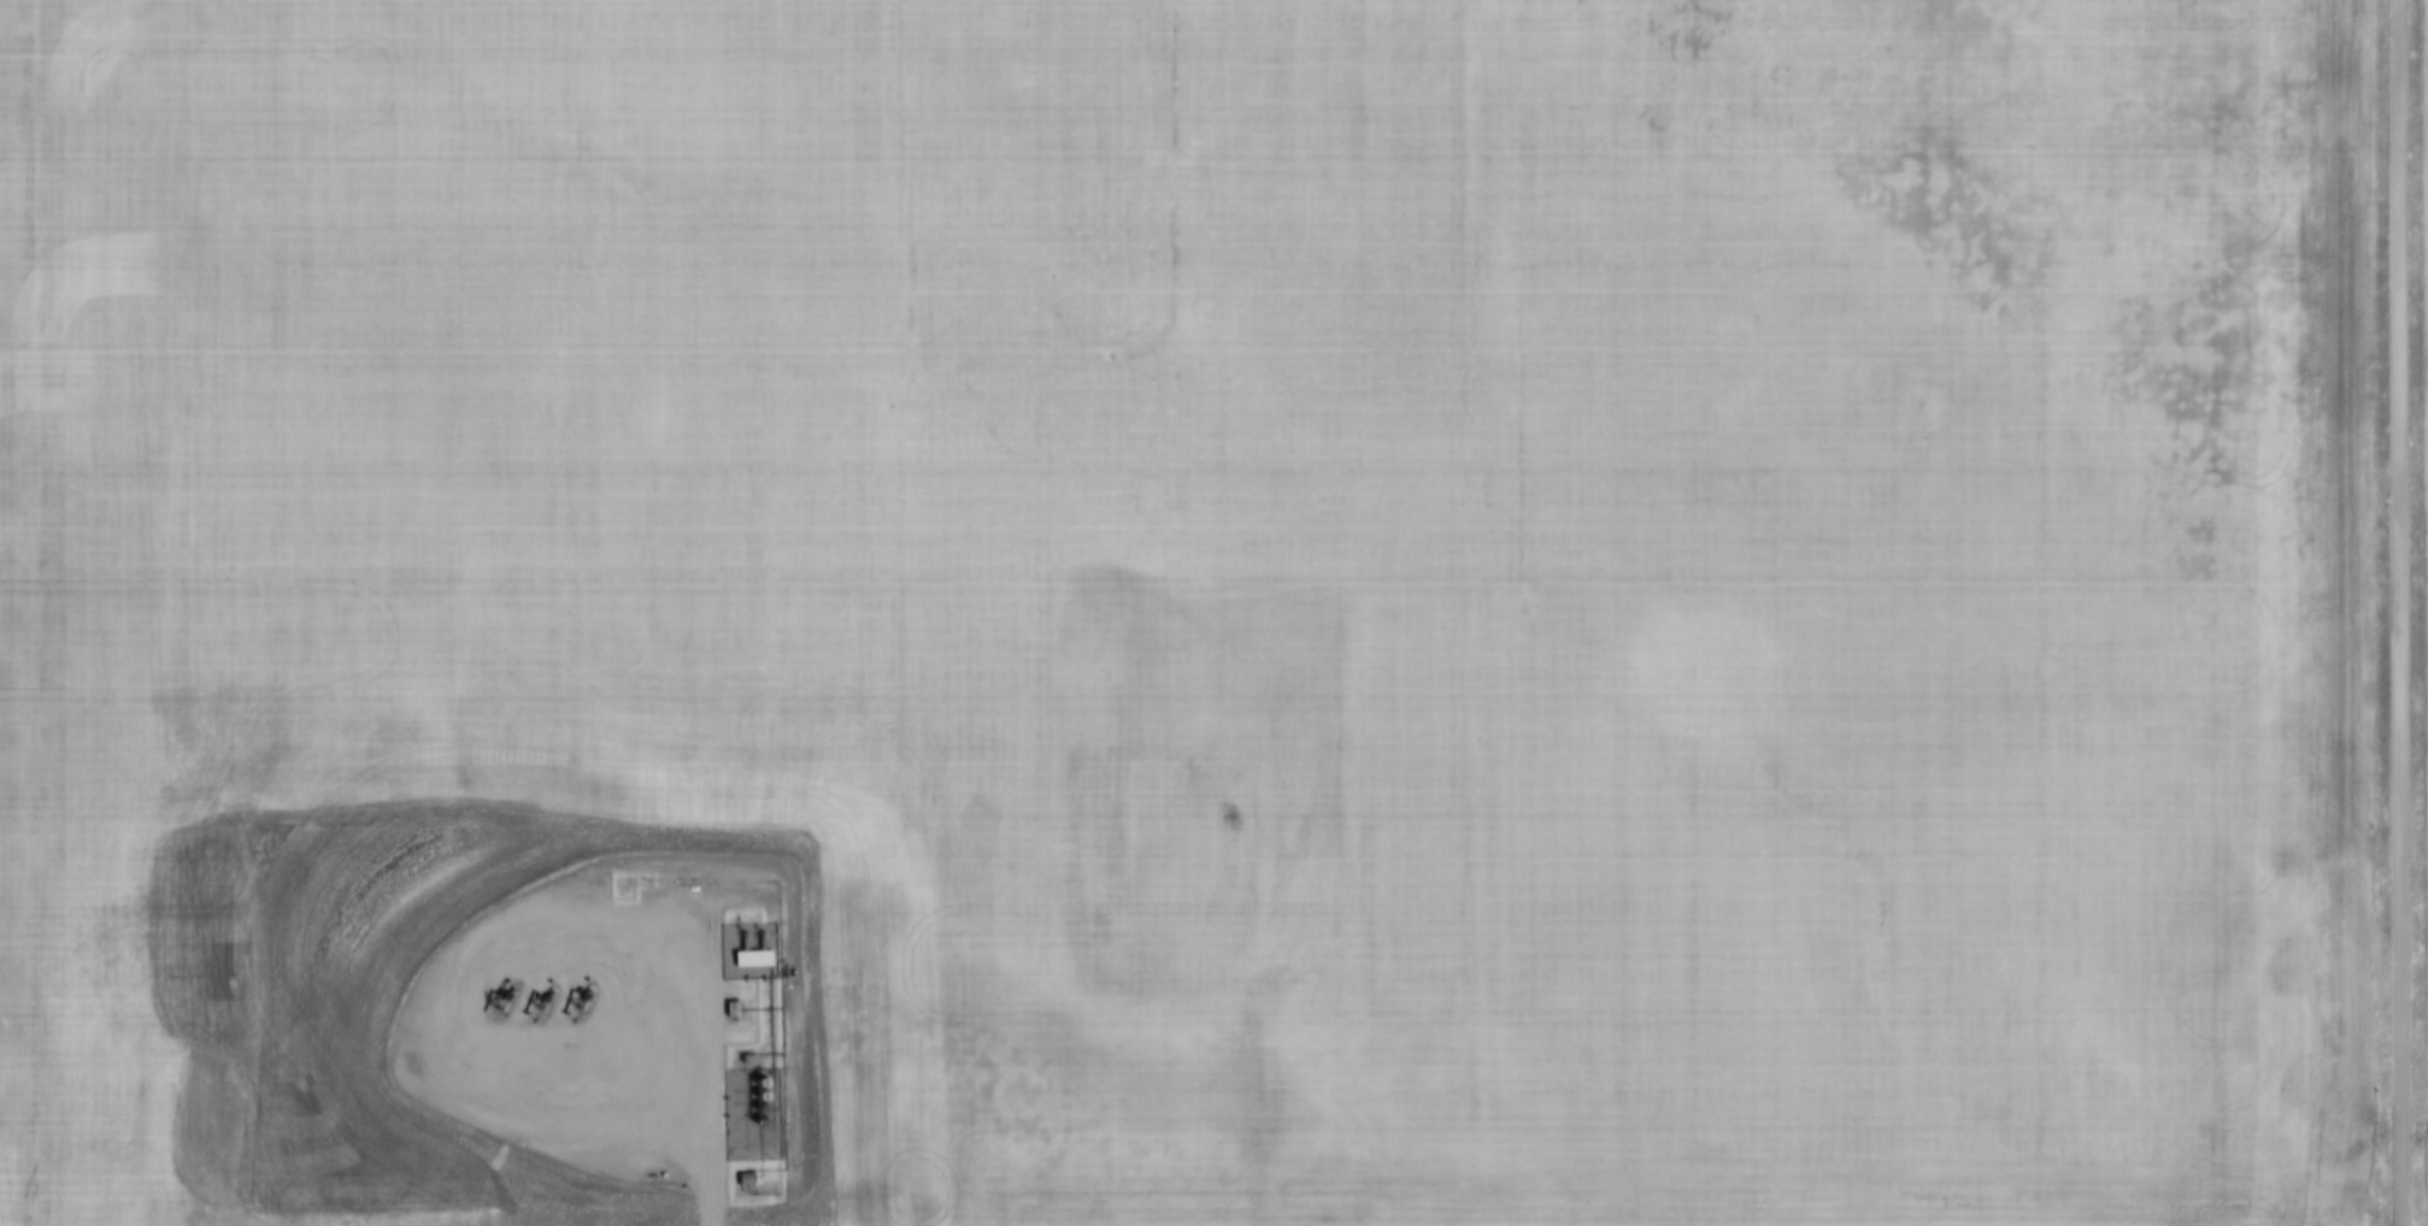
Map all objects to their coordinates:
road: (2405, 612)

